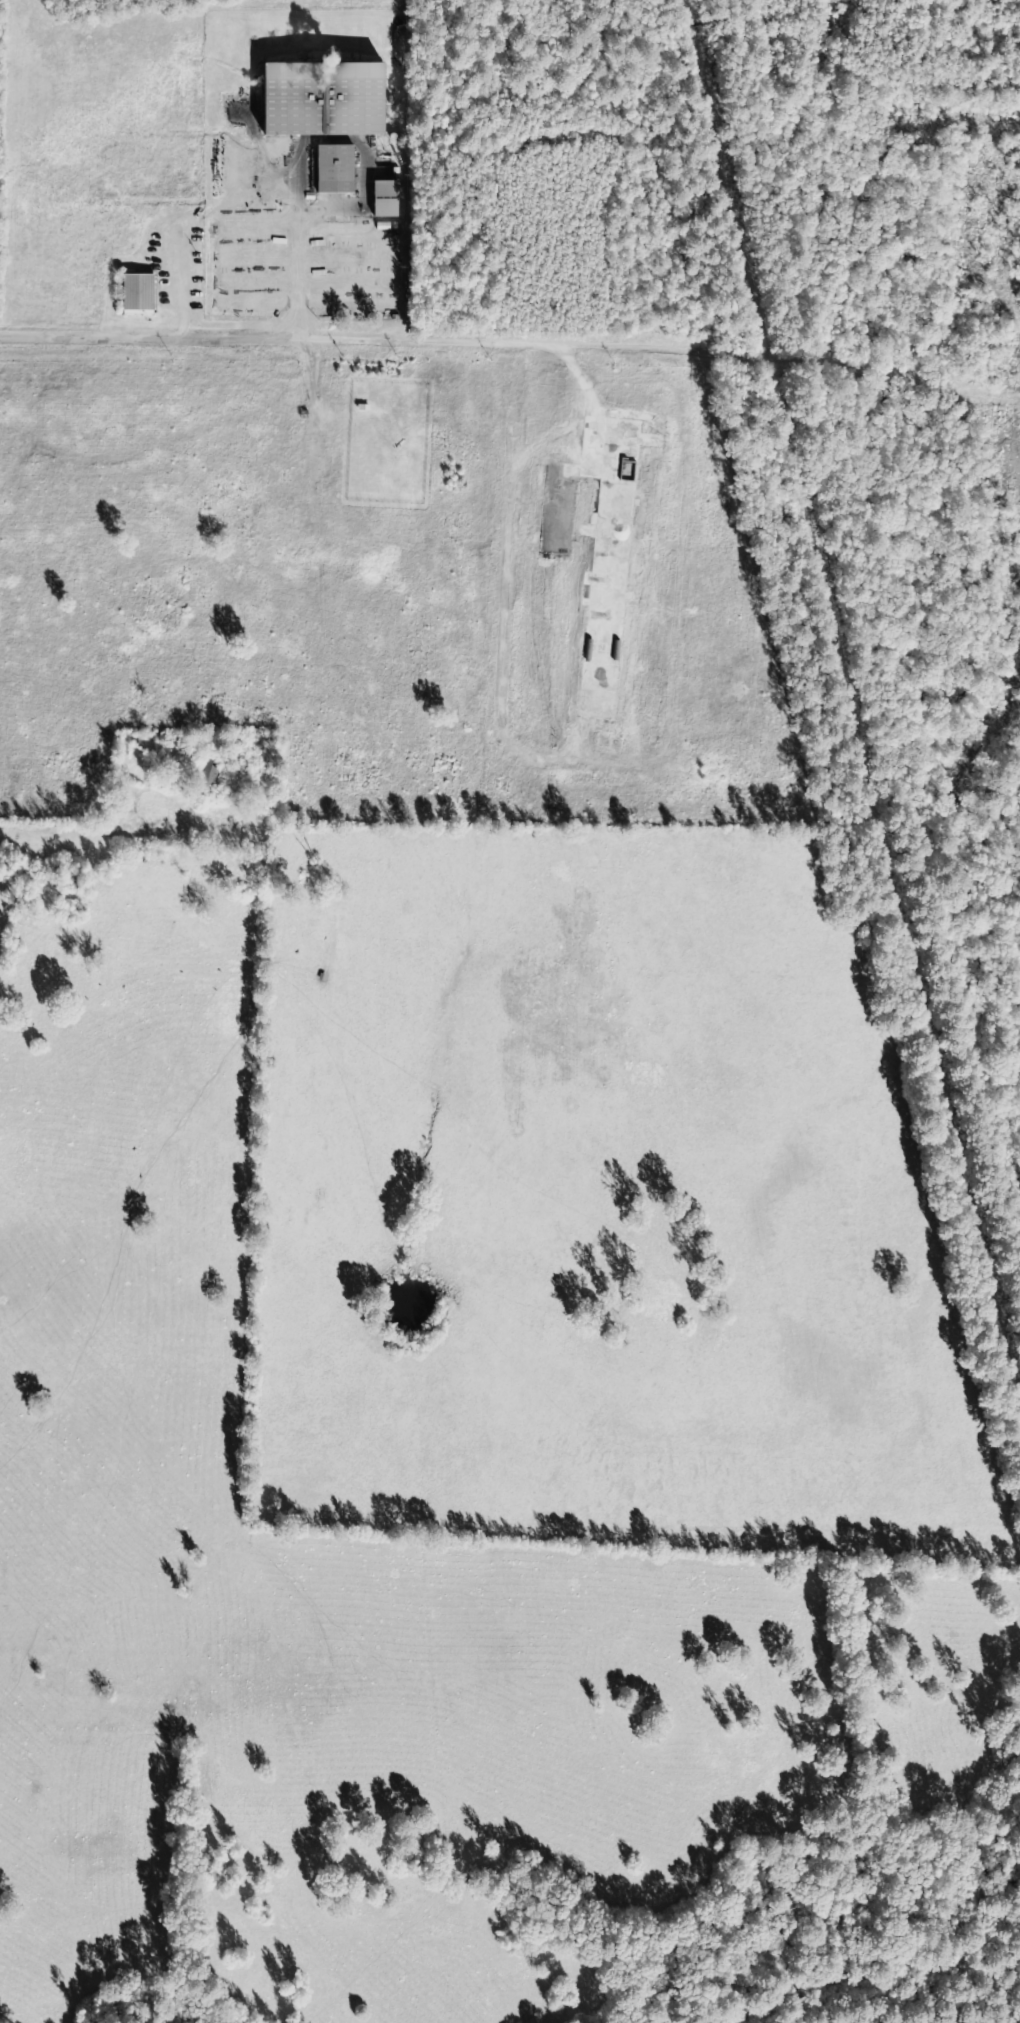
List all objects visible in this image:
building: (315, 100)
building: (330, 170)
building: (382, 199)
building: (133, 294)
road: (361, 346)
building: (624, 469)
railway: (845, 737)
building: (205, 775)
road: (29, 842)

